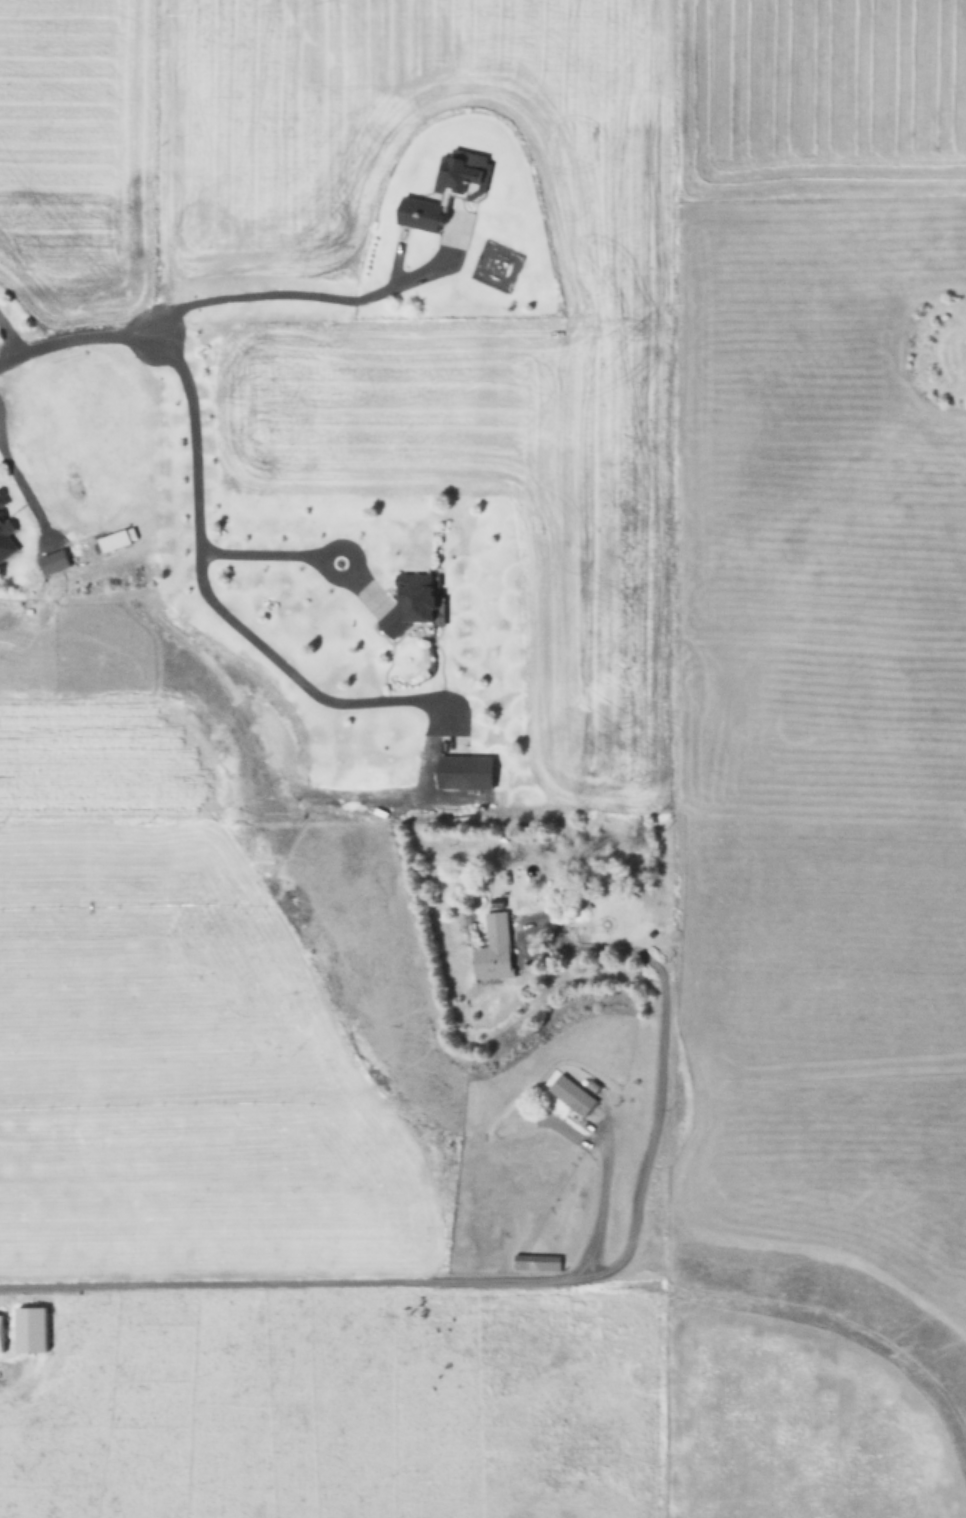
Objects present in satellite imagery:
road: (74, 337)
road: (286, 1285)

